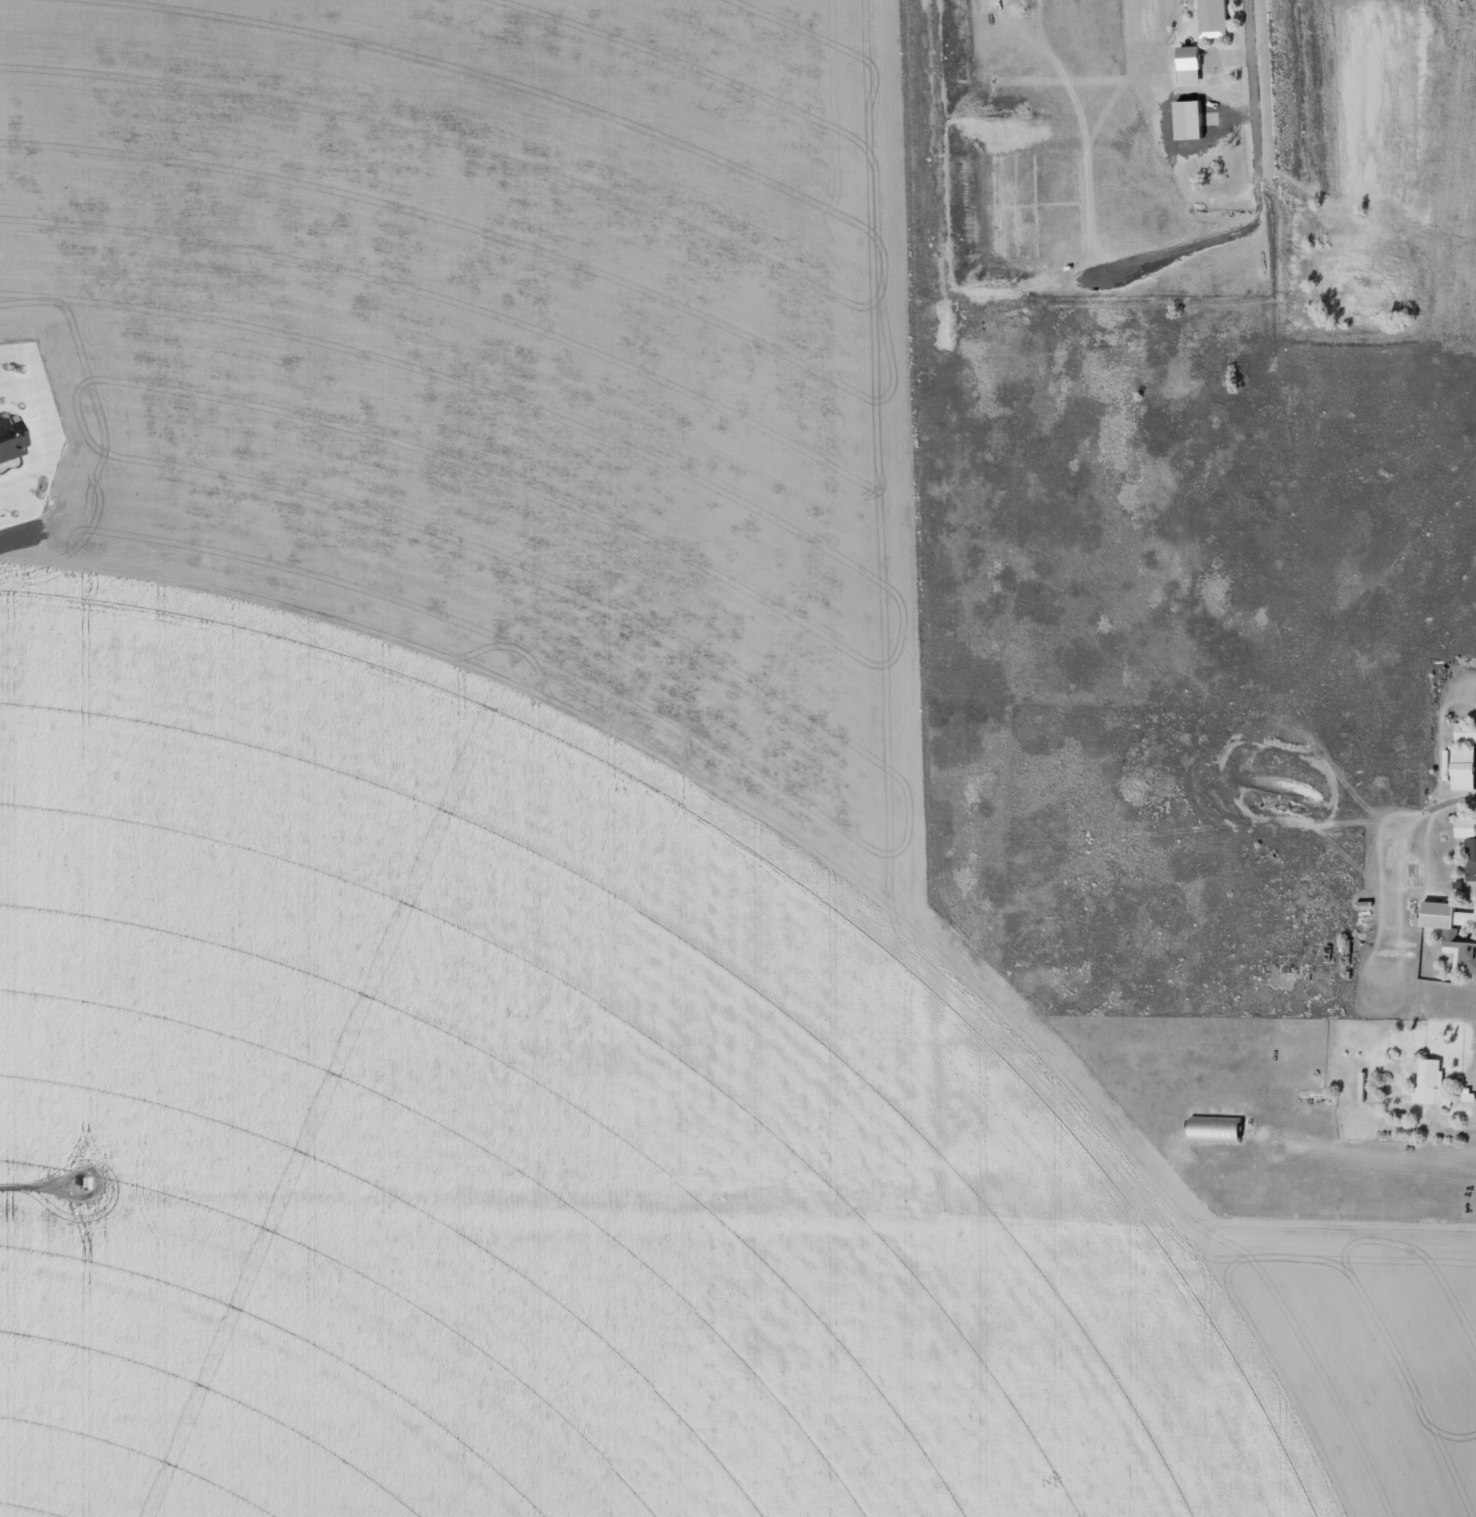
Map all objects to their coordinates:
building: (1214, 18)
building: (1190, 63)
building: (1193, 118)
building: (10, 437)
building: (1466, 732)
building: (1464, 768)
building: (1468, 839)
building: (1453, 931)
building: (1430, 1083)

